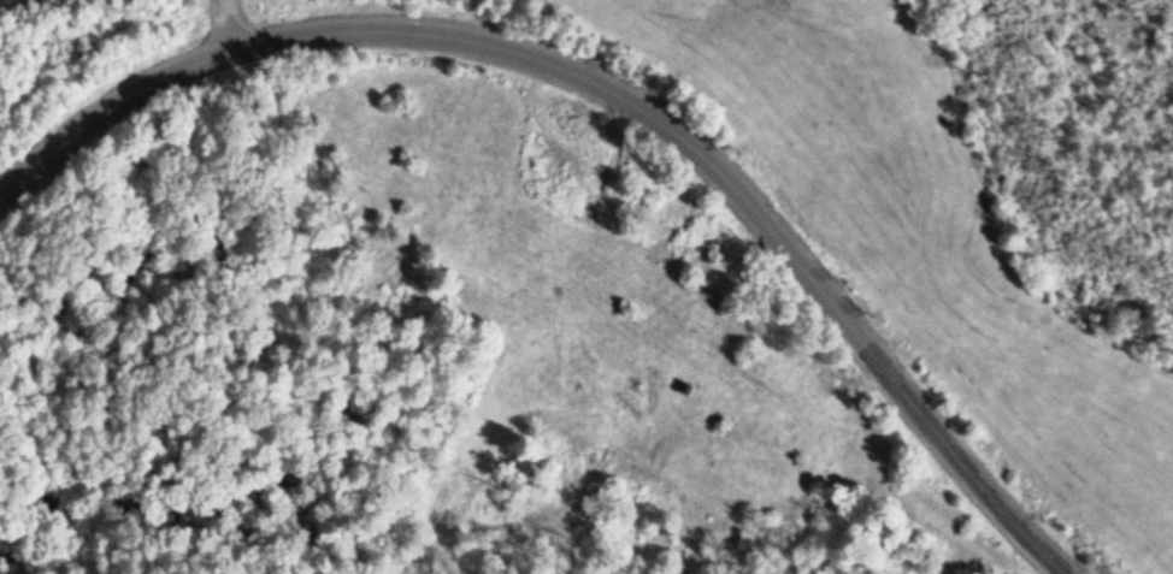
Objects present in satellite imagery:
road: (224, 28)
road: (608, 91)

